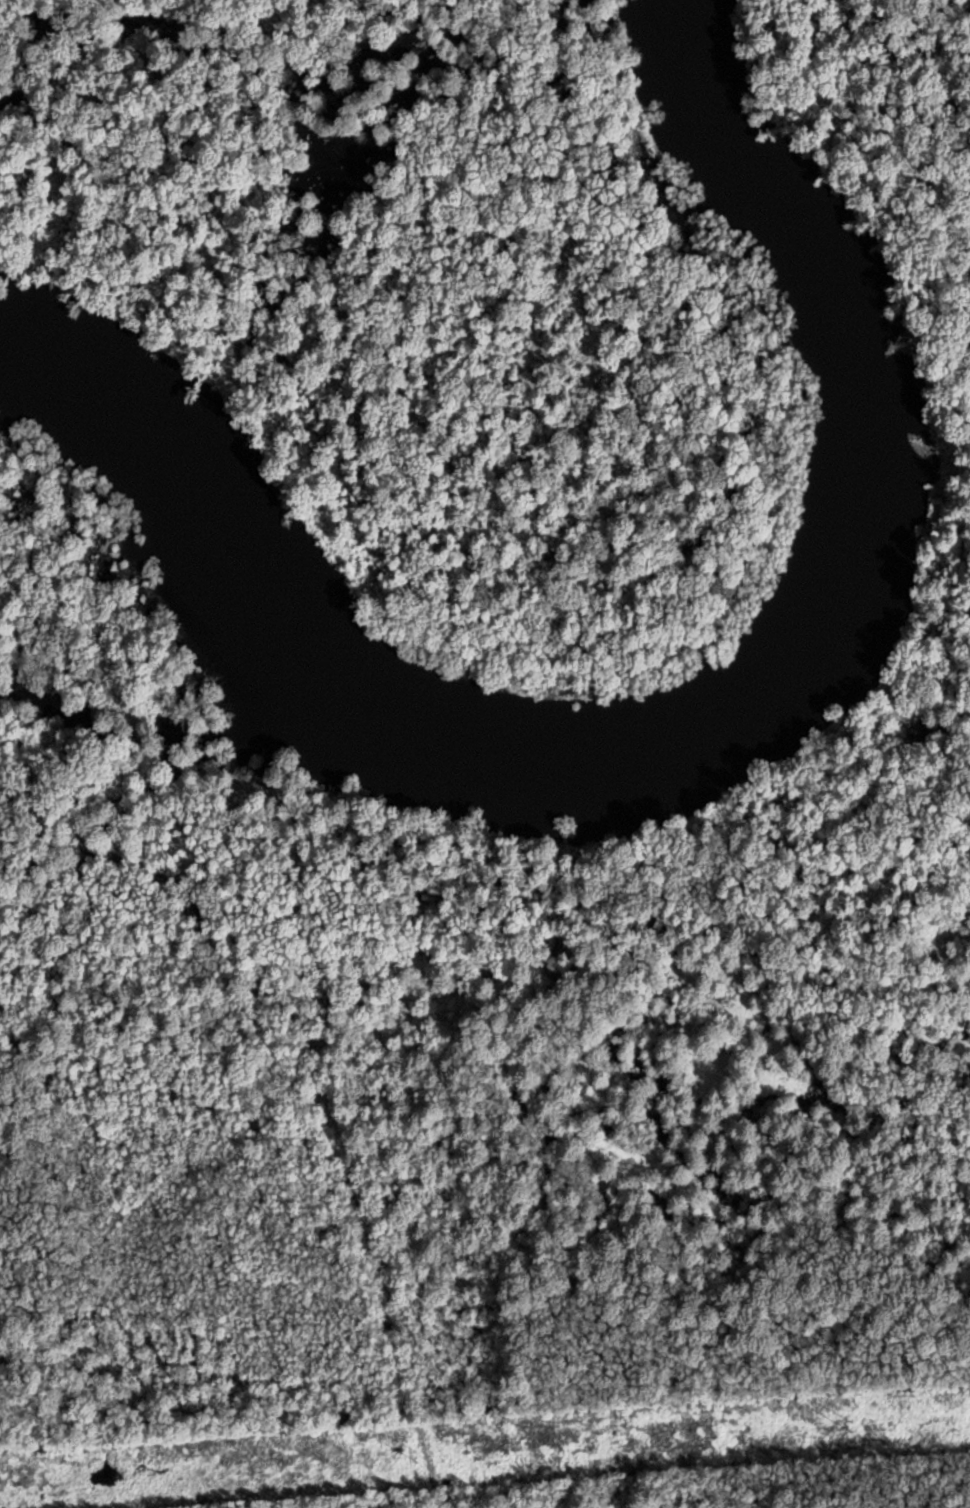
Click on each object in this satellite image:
river: (650, 701)
power tower: (851, 1426)
power tower: (416, 1455)

